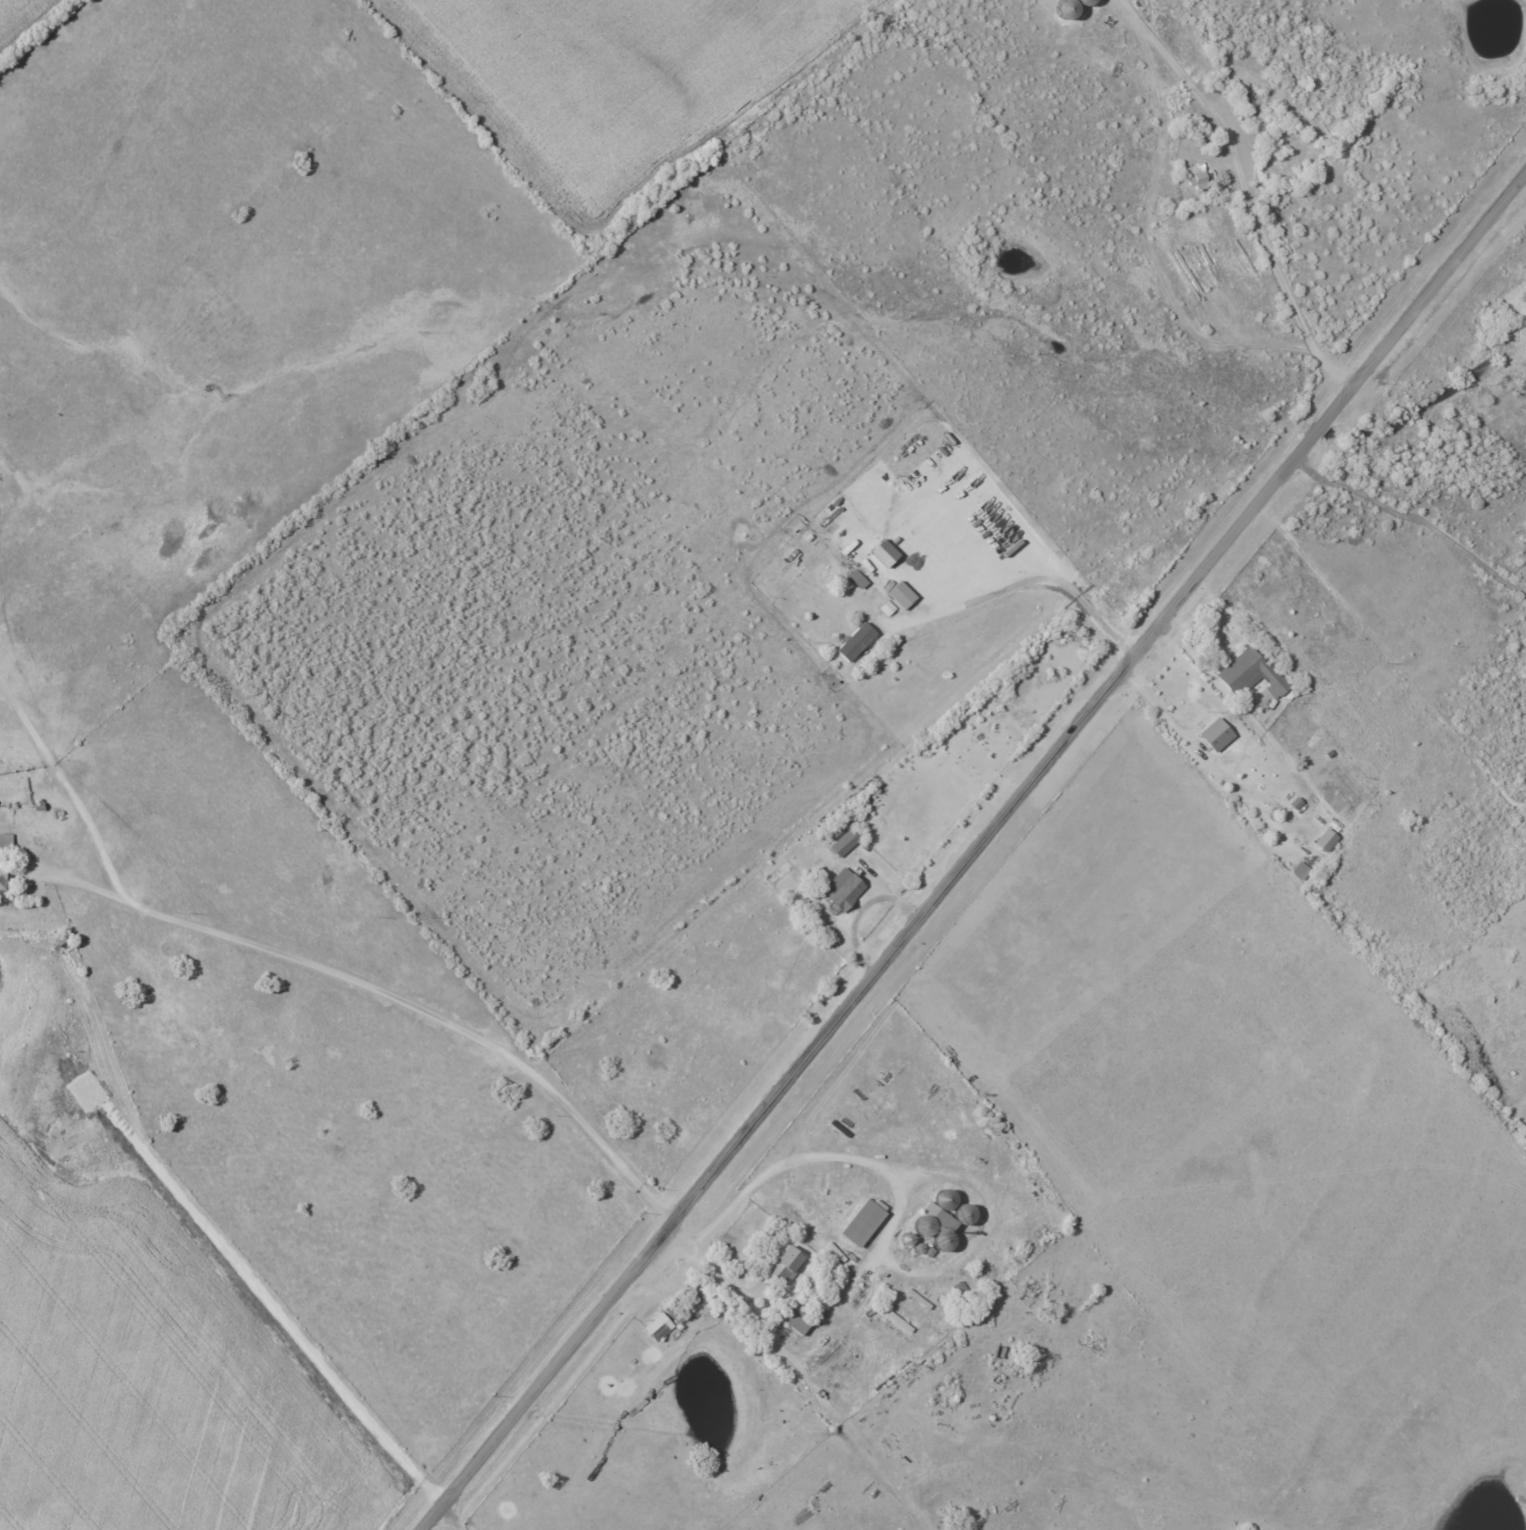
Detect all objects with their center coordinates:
building: (1195, 176)
road: (1241, 193)
road: (1415, 521)
building: (885, 552)
building: (858, 578)
building: (848, 585)
road: (1021, 588)
building: (901, 595)
building: (887, 607)
building: (857, 641)
road: (1387, 663)
building: (1250, 673)
road: (1153, 703)
building: (1216, 734)
road: (67, 792)
building: (6, 839)
building: (844, 840)
building: (1326, 840)
road: (973, 853)
building: (1301, 870)
building: (3, 876)
building: (843, 889)
road: (389, 993)
building: (862, 1222)
road: (883, 1245)
building: (786, 1263)
building: (677, 1313)
building: (796, 1320)
building: (659, 1326)
road: (447, 1520)

